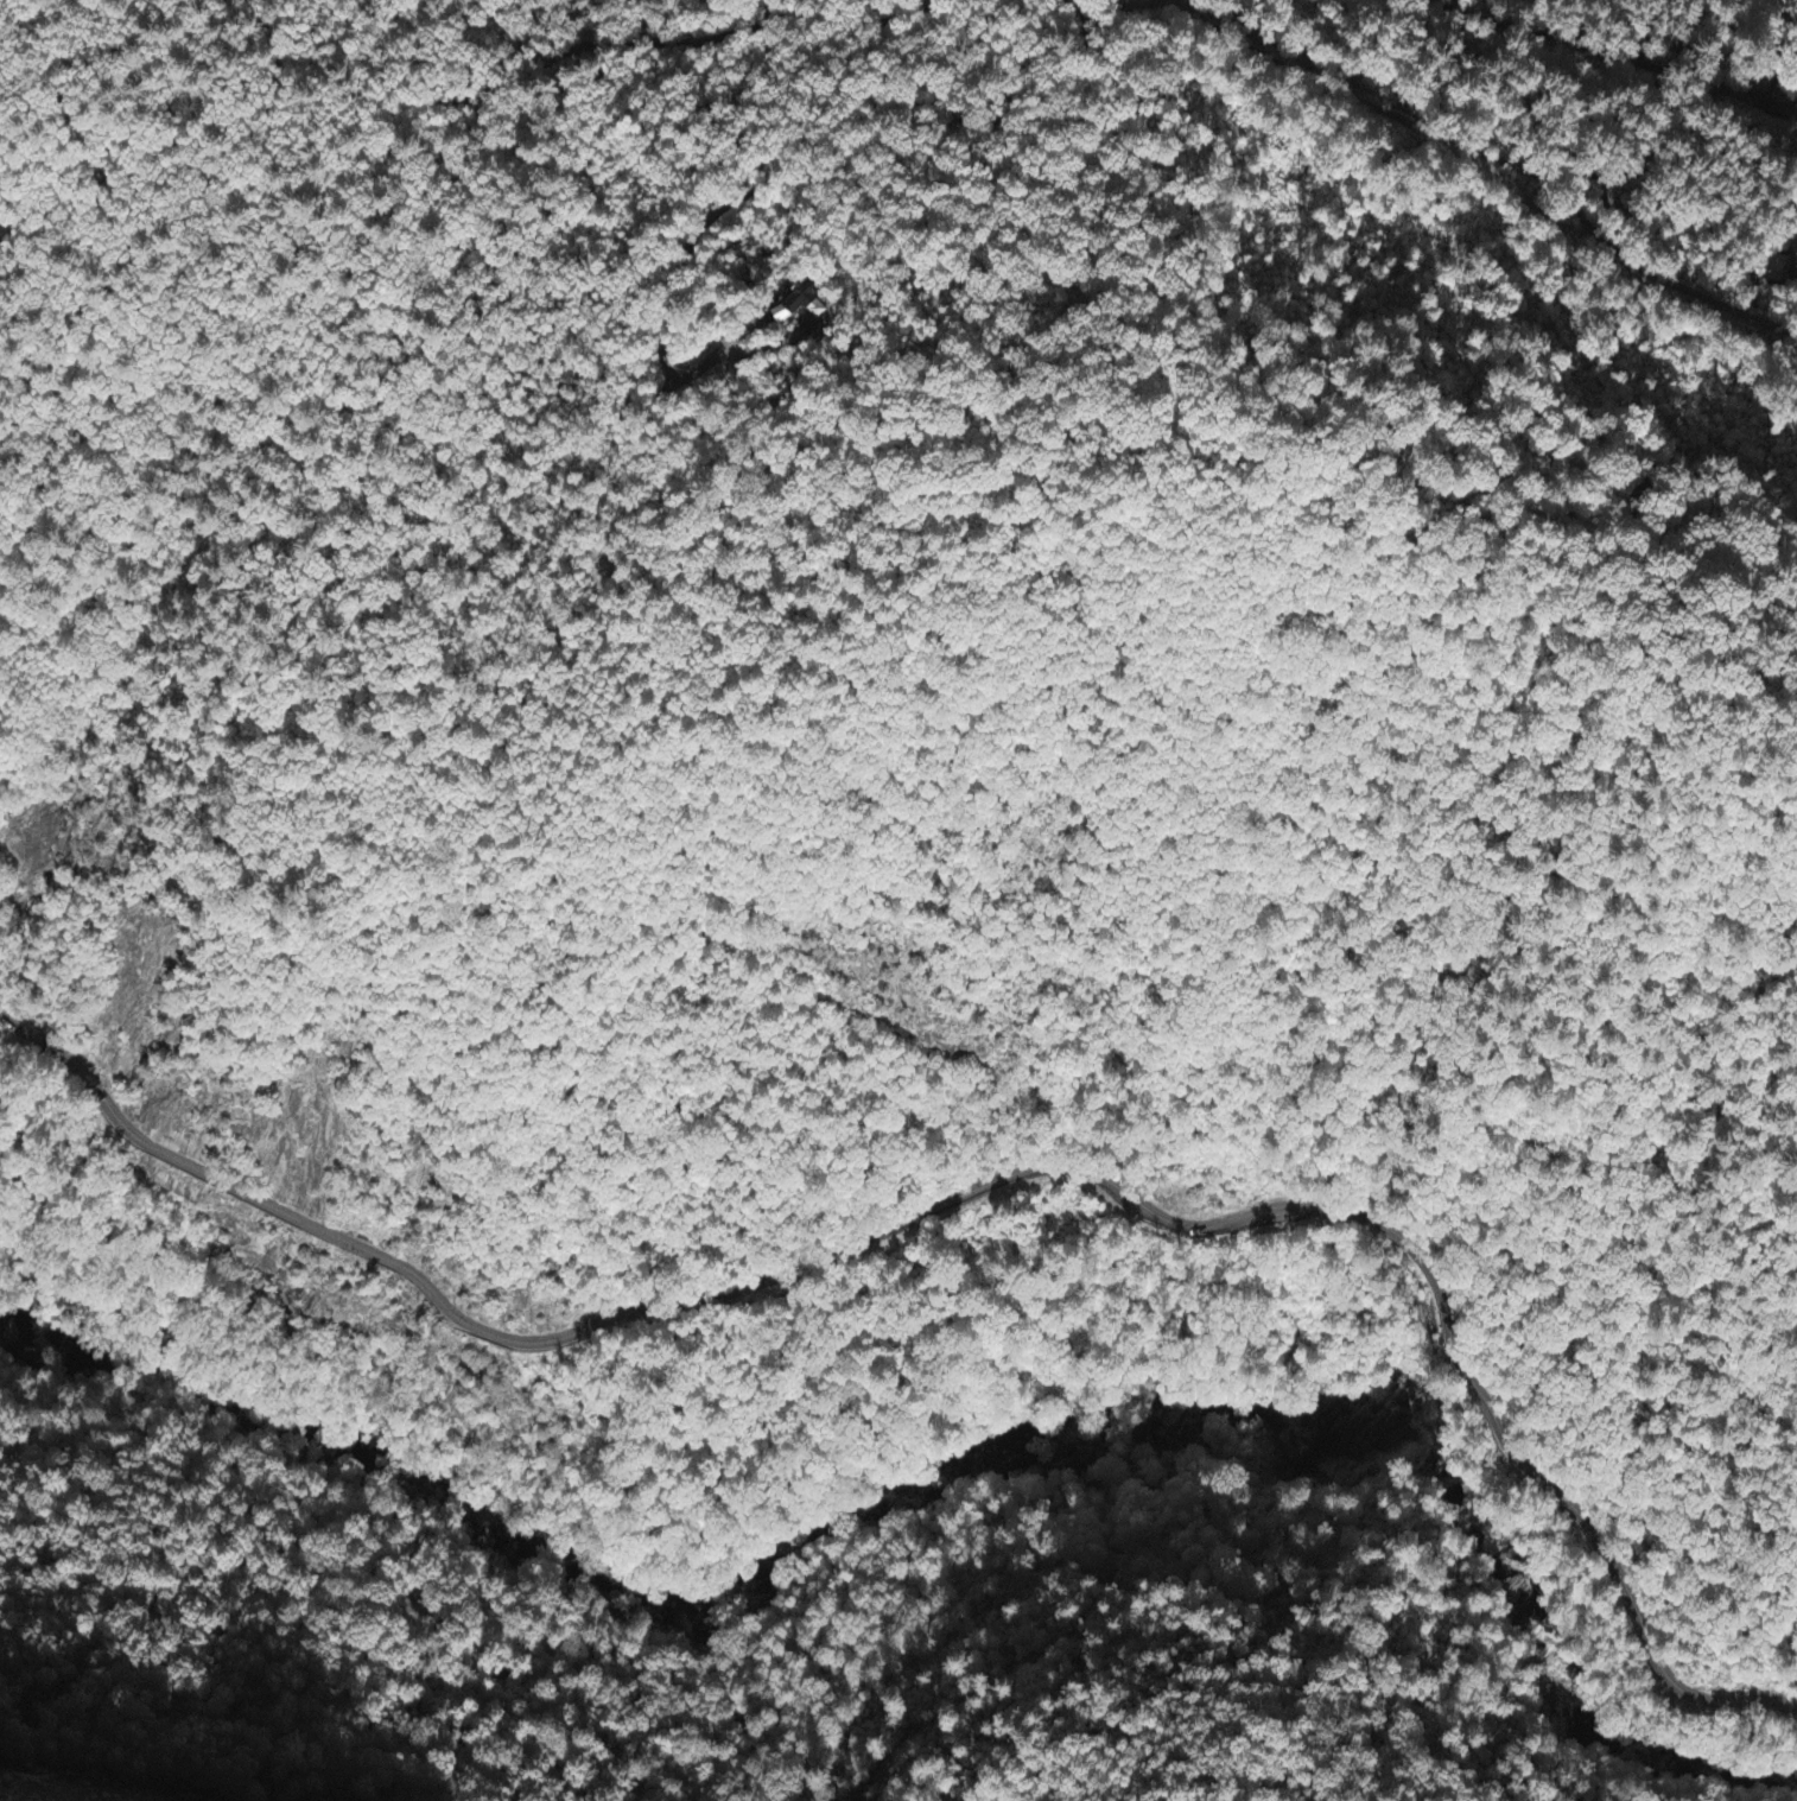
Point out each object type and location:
road: (580, 47)
road: (1624, 58)
road: (843, 131)
road: (1494, 158)
road: (977, 1190)
parking lot: (1131, 1210)
river: (965, 1439)

